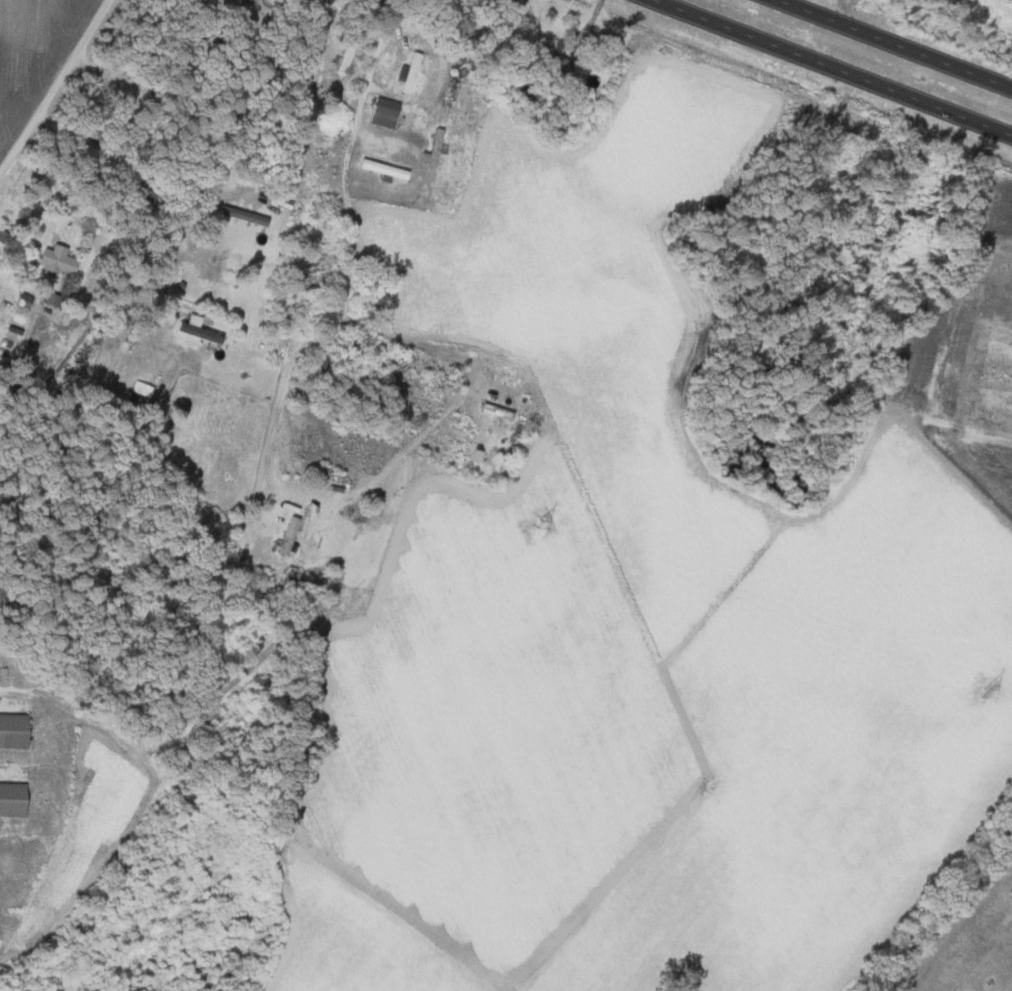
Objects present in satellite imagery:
road: (491, 21)
road: (897, 43)
road: (833, 68)
building: (412, 70)
road: (50, 81)
building: (387, 111)
building: (388, 167)
road: (222, 206)
building: (248, 214)
building: (60, 259)
road: (349, 277)
building: (199, 327)
power tower: (85, 351)
building: (501, 410)
power tower: (537, 523)
building: (281, 536)
power tower: (984, 693)
building: (11, 729)
building: (10, 796)

